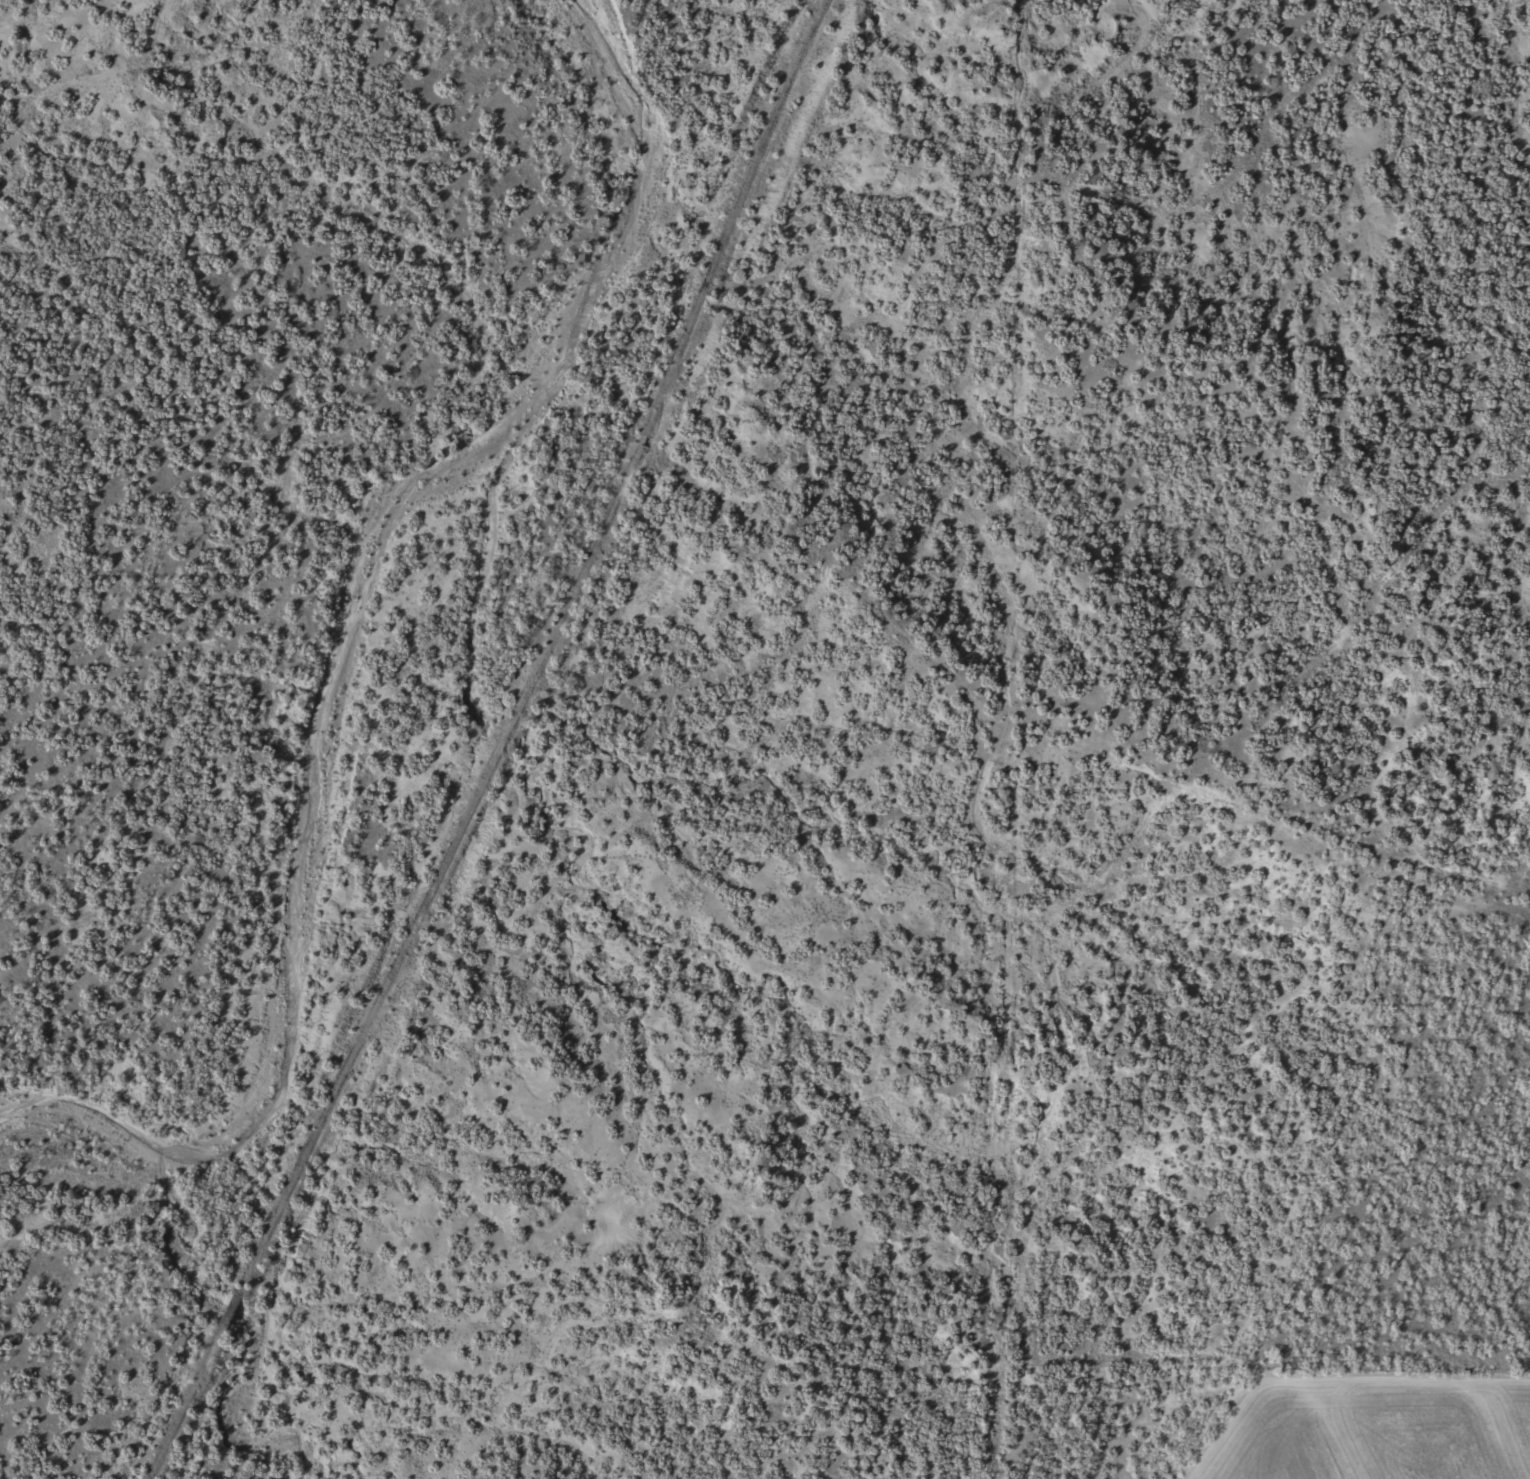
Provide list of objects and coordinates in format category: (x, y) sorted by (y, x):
railway: (514, 747)

